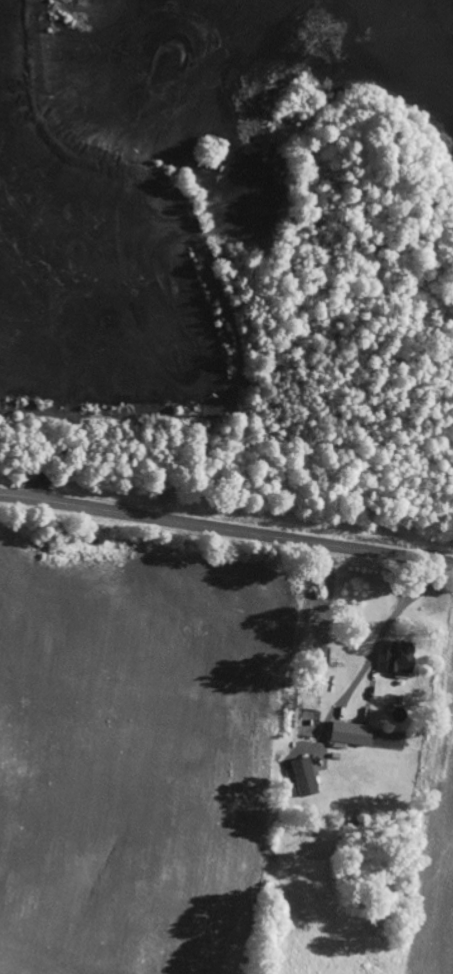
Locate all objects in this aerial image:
road: (226, 530)
building: (397, 660)
building: (350, 733)
building: (304, 776)

